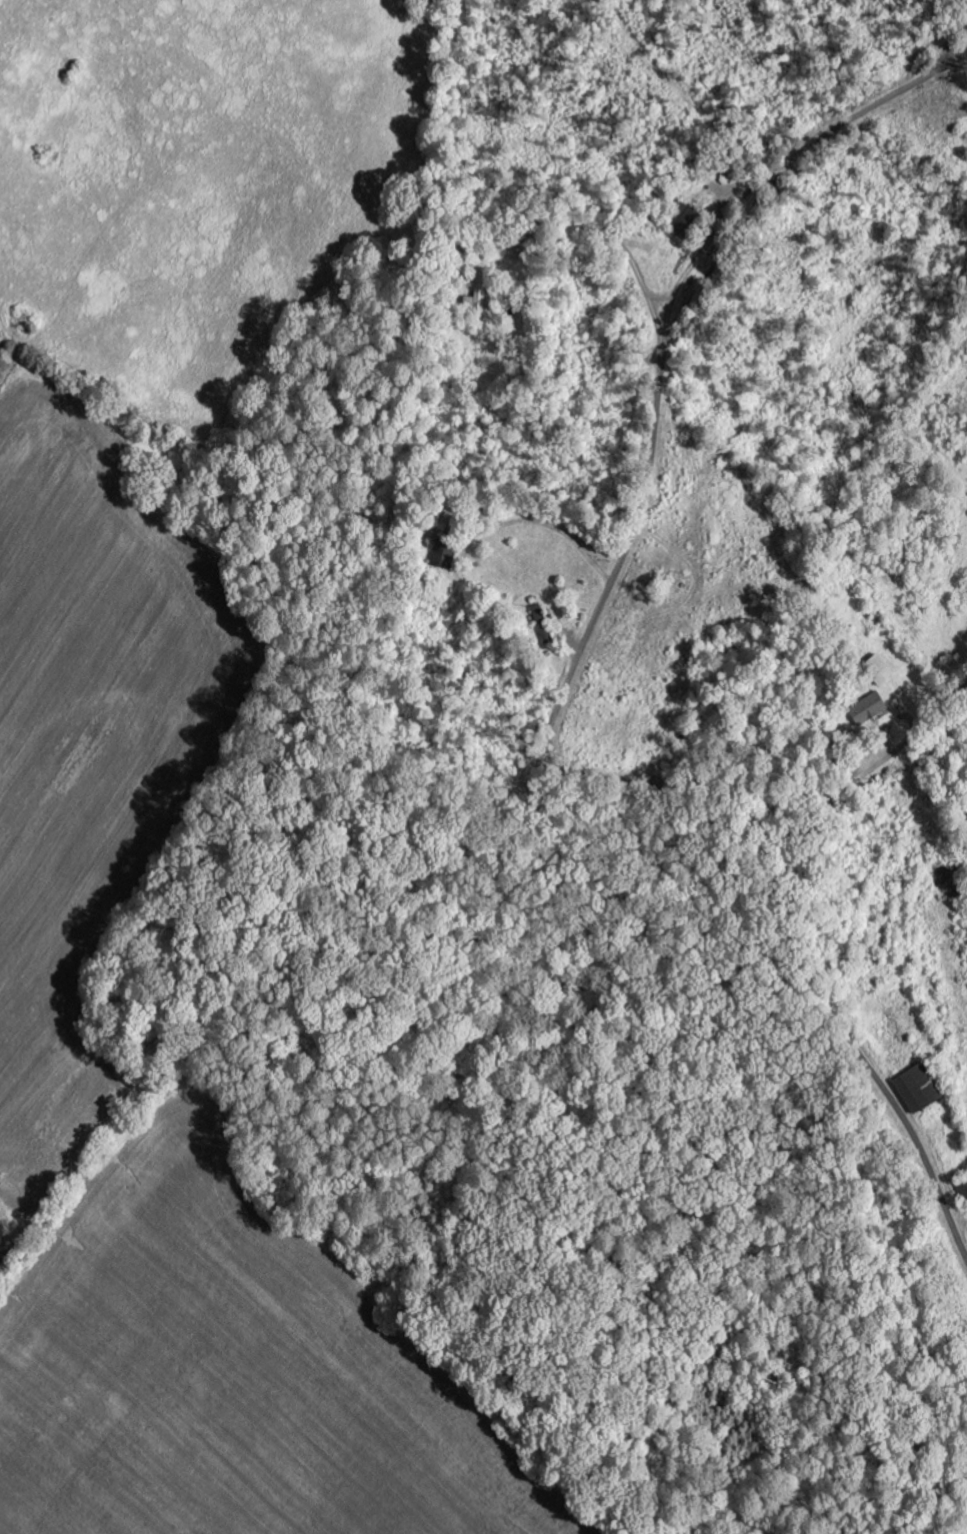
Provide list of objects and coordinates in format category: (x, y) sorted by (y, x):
road: (642, 498)
building: (878, 669)
building: (868, 708)
road: (876, 765)
road: (860, 1055)
building: (916, 1086)

